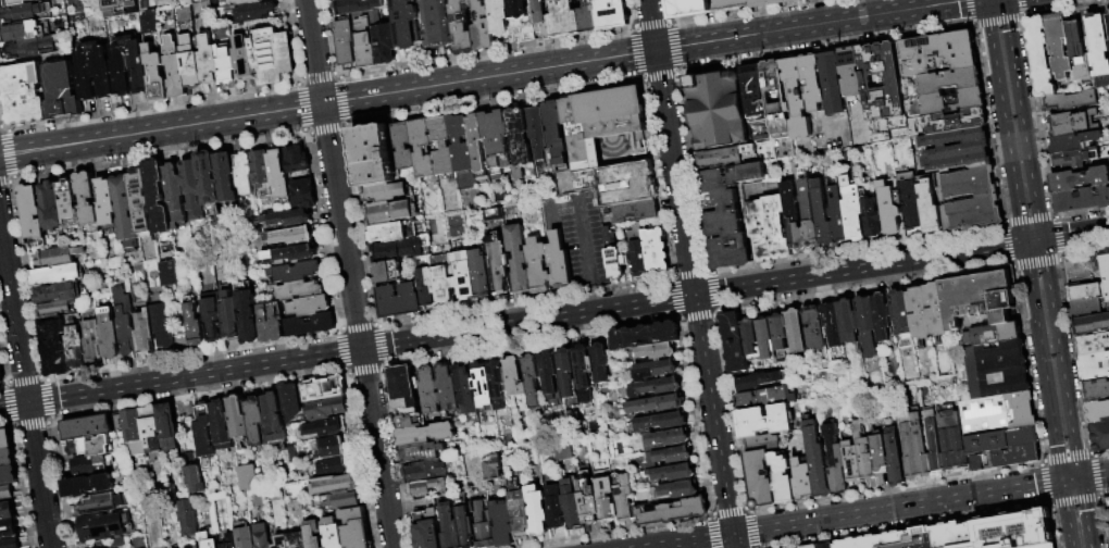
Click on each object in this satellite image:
building: (0, 0)
building: (15, 2)
building: (248, 2)
building: (728, 3)
building: (773, 3)
building: (358, 7)
building: (119, 8)
building: (691, 9)
building: (520, 10)
building: (27, 13)
building: (254, 13)
building: (612, 14)
building: (499, 17)
building: (588, 17)
building: (540, 20)
building: (564, 20)
building: (147, 21)
building: (1108, 22)
building: (406, 24)
building: (437, 24)
building: (483, 27)
building: (462, 29)
building: (27, 30)
building: (364, 34)
building: (527, 35)
building: (384, 40)
building: (346, 41)
building: (1108, 43)
building: (1058, 46)
building: (32, 48)
traffic signals: (655, 48)
building: (1098, 49)
building: (1077, 52)
building: (935, 54)
building: (272, 55)
building: (1039, 57)
building: (244, 58)
building: (367, 58)
building: (208, 61)
building: (190, 63)
building: (137, 64)
building: (226, 65)
building: (113, 70)
building: (175, 70)
building: (87, 71)
building: (849, 72)
building: (157, 75)
road: (471, 76)
building: (812, 82)
building: (948, 82)
building: (831, 83)
building: (753, 90)
building: (62, 92)
building: (882, 94)
building: (24, 95)
building: (775, 98)
building: (795, 99)
traffic signals: (322, 101)
building: (952, 101)
building: (1072, 101)
building: (715, 111)
road: (1021, 119)
building: (600, 120)
building: (946, 122)
road: (1005, 122)
building: (1072, 123)
building: (554, 132)
building: (535, 133)
building: (519, 137)
building: (496, 141)
building: (1073, 142)
building: (443, 146)
building: (403, 147)
building: (477, 147)
building: (783, 147)
building: (423, 148)
building: (956, 149)
building: (462, 151)
building: (373, 155)
building: (725, 155)
building: (1074, 159)
building: (298, 161)
building: (261, 169)
building: (245, 173)
building: (279, 174)
building: (210, 178)
building: (226, 178)
building: (1079, 180)
building: (194, 189)
building: (385, 192)
building: (303, 194)
building: (176, 195)
building: (159, 198)
building: (88, 200)
building: (140, 200)
building: (908, 200)
building: (971, 200)
building: (1082, 200)
building: (70, 201)
building: (105, 203)
building: (52, 208)
building: (124, 208)
building: (888, 208)
building: (929, 208)
building: (851, 210)
building: (387, 212)
building: (635, 212)
building: (490, 213)
building: (34, 214)
building: (725, 214)
building: (821, 214)
building: (808, 216)
building: (837, 216)
building: (792, 217)
building: (871, 217)
building: (290, 219)
building: (768, 229)
building: (388, 233)
road: (1075, 235)
building: (290, 236)
road: (586, 239)
traffic signals: (1043, 240)
traffic signals: (1024, 244)
building: (396, 250)
building: (655, 250)
building: (636, 252)
building: (294, 254)
building: (58, 257)
building: (613, 257)
building: (518, 258)
building: (558, 261)
building: (537, 266)
road: (689, 266)
building: (497, 267)
building: (1106, 271)
building: (388, 272)
building: (1083, 272)
building: (295, 273)
road: (349, 273)
building: (171, 274)
building: (479, 274)
building: (463, 275)
building: (57, 276)
building: (443, 285)
building: (425, 288)
building: (300, 291)
building: (1087, 292)
building: (59, 294)
traffic signals: (695, 296)
road: (595, 297)
building: (979, 299)
building: (398, 301)
building: (310, 307)
building: (1087, 308)
building: (54, 310)
building: (927, 312)
building: (901, 314)
building: (230, 316)
building: (249, 319)
building: (881, 319)
building: (213, 320)
building: (849, 322)
building: (126, 323)
road: (521, 324)
building: (162, 325)
building: (271, 325)
building: (1092, 325)
building: (195, 326)
building: (311, 326)
building: (867, 327)
building: (814, 328)
building: (834, 328)
building: (780, 332)
building: (796, 332)
building: (146, 333)
building: (110, 335)
building: (994, 335)
building: (646, 336)
building: (749, 337)
building: (765, 339)
building: (94, 341)
building: (735, 342)
building: (1094, 346)
building: (55, 349)
building: (76, 349)
traffic signals: (362, 350)
building: (659, 352)
road: (1042, 362)
building: (601, 363)
building: (1095, 369)
building: (657, 370)
building: (998, 371)
building: (566, 373)
building: (584, 374)
building: (549, 375)
building: (1, 377)
building: (515, 377)
building: (532, 381)
building: (758, 382)
building: (498, 384)
road: (25, 386)
building: (484, 387)
building: (660, 387)
building: (403, 388)
building: (447, 388)
building: (325, 389)
building: (465, 390)
building: (429, 391)
building: (1097, 391)
road: (1067, 394)
building: (765, 398)
building: (290, 402)
traffic signals: (28, 403)
building: (658, 404)
building: (328, 409)
building: (1098, 413)
building: (998, 414)
building: (238, 418)
building: (275, 419)
building: (256, 421)
building: (221, 422)
building: (661, 422)
building: (764, 422)
building: (407, 423)
building: (151, 425)
building: (169, 426)
building: (88, 427)
building: (134, 427)
building: (324, 428)
building: (204, 431)
building: (426, 435)
building: (1101, 437)
building: (666, 439)
building: (5, 440)
building: (1002, 441)
building: (763, 444)
building: (932, 444)
building: (951, 444)
building: (89, 447)
building: (912, 447)
building: (331, 448)
building: (562, 451)
building: (423, 452)
building: (863, 453)
building: (879, 456)
building: (1017, 457)
building: (669, 458)
building: (8, 459)
building: (895, 459)
building: (835, 461)
building: (851, 461)
building: (818, 462)
building: (975, 463)
building: (90, 465)
building: (490, 466)
building: (334, 468)
building: (426, 472)
building: (673, 473)
building: (9, 476)
building: (245, 476)
road: (1085, 477)
building: (783, 479)
traffic signals: (1080, 479)
building: (195, 481)
building: (760, 481)
building: (802, 481)
traffic signals: (1062, 482)
building: (335, 485)
building: (89, 486)
building: (444, 486)
building: (425, 487)
building: (680, 490)
building: (8, 494)
building: (623, 498)
building: (588, 500)
building: (344, 501)
building: (607, 502)
building: (1108, 503)
building: (101, 505)
building: (554, 508)
building: (572, 508)
road: (897, 508)
building: (9, 509)
building: (537, 512)
building: (674, 513)
road: (1067, 514)
building: (521, 516)
building: (188, 519)
building: (502, 523)
building: (483, 525)
building: (10, 526)
building: (104, 527)
building: (449, 527)
building: (357, 528)
building: (465, 528)
building: (429, 532)
building: (313, 534)
building: (333, 534)
traffic signals: (733, 535)
building: (965, 535)
building: (262, 536)
building: (244, 538)
building: (208, 540)
building: (298, 540)
building: (229, 541)
road: (691, 541)
road: (734, 541)
building: (12, 543)
building: (282, 543)
building: (822, 546)
building: (1044, 546)
building: (178, 547)
building: (192, 547)
building: (199, 547)

